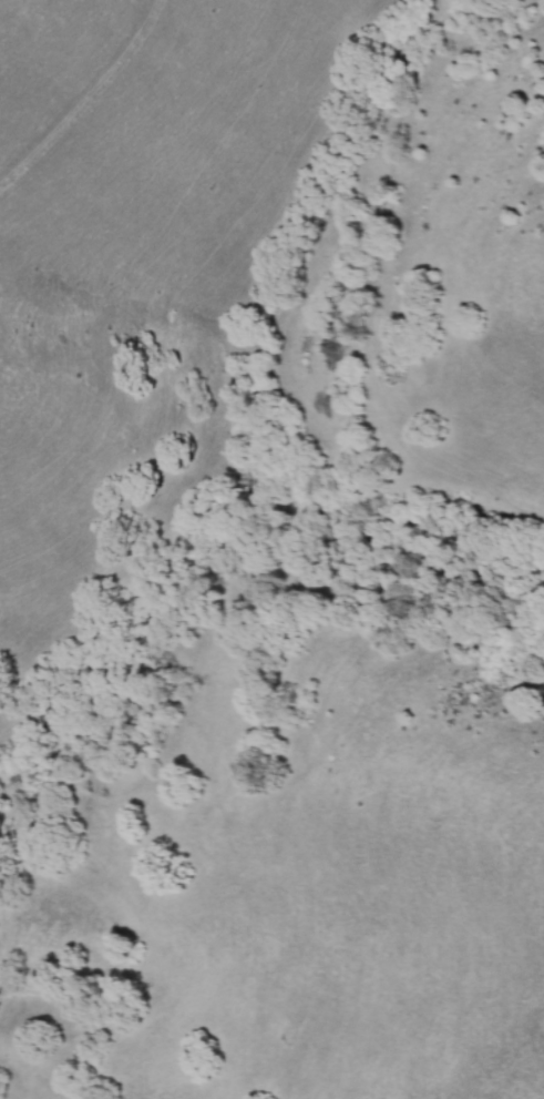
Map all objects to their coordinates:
road: (90, 99)

